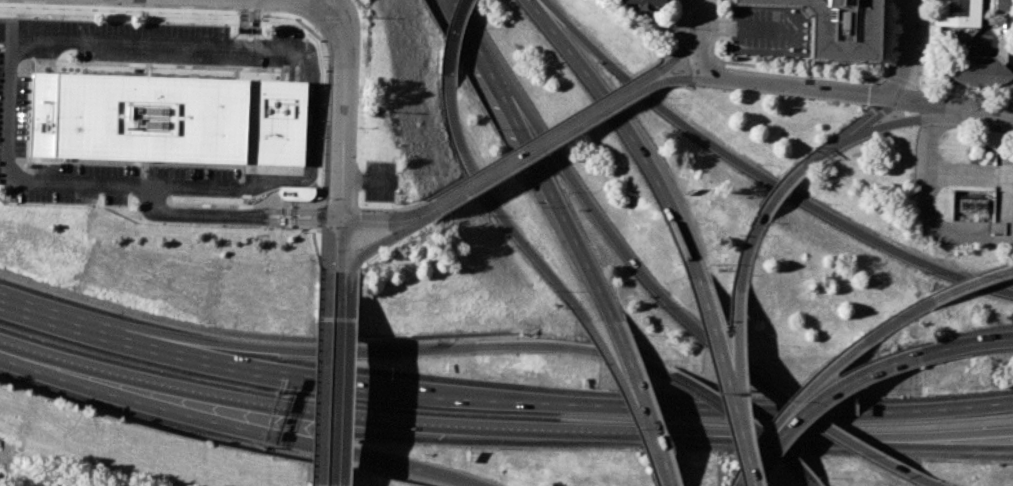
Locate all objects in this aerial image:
park: (325, 3)
building: (647, 4)
road: (323, 5)
road: (701, 8)
building: (1004, 8)
building: (956, 14)
road: (463, 18)
road: (250, 22)
building: (838, 27)
street lamp: (683, 28)
road: (748, 28)
road: (679, 37)
road: (456, 39)
road: (885, 39)
road: (171, 44)
street lamp: (921, 46)
road: (685, 48)
road: (903, 49)
road: (693, 50)
road: (701, 51)
road: (921, 61)
road: (770, 66)
building: (983, 68)
street lamp: (808, 75)
road: (693, 78)
street lamp: (921, 81)
road: (811, 90)
road: (967, 90)
street lamp: (723, 91)
street lamp: (671, 103)
street lamp: (864, 106)
road: (956, 110)
road: (344, 112)
road: (10, 113)
parking lot: (14, 117)
road: (872, 118)
building: (168, 119)
road: (893, 121)
road: (544, 132)
street lamp: (988, 133)
road: (549, 143)
road: (825, 151)
road: (295, 174)
road: (936, 174)
road: (251, 178)
road: (369, 180)
parking lot: (381, 182)
road: (550, 187)
road: (784, 189)
road: (237, 190)
building: (295, 193)
road: (340, 206)
road: (394, 210)
road: (499, 210)
road: (598, 214)
road: (213, 215)
road: (325, 216)
road: (319, 218)
road: (389, 220)
road: (945, 233)
road: (388, 237)
road: (343, 245)
road: (326, 248)
road: (748, 252)
road: (972, 285)
road: (72, 320)
road: (899, 320)
road: (738, 340)
road: (409, 346)
road: (967, 346)
road: (69, 368)
road: (296, 375)
road: (323, 378)
road: (342, 378)
road: (627, 383)
road: (808, 392)
road: (835, 393)
road: (732, 408)
road: (653, 411)
road: (743, 415)
road: (830, 427)
road: (547, 428)
road: (745, 437)
road: (985, 438)
road: (308, 442)
road: (985, 443)
street lamp: (940, 460)
road: (9, 466)
road: (758, 472)
road: (811, 479)
road: (927, 481)

